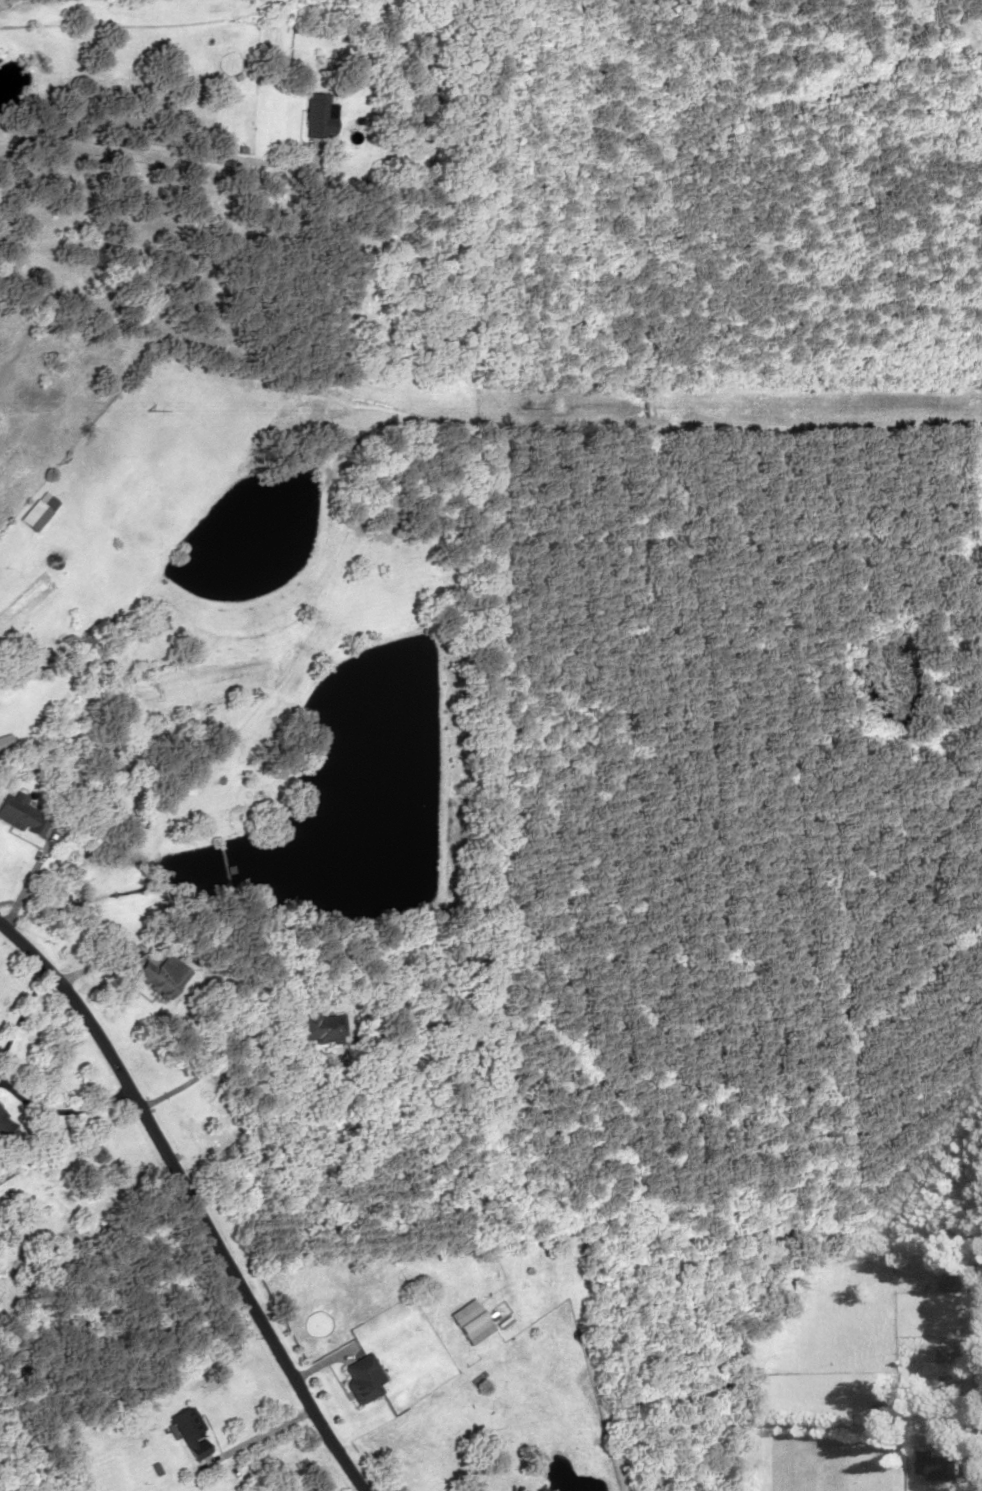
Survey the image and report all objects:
building: (317, 115)
building: (387, 157)
building: (38, 510)
building: (152, 620)
building: (121, 637)
building: (4, 741)
building: (21, 813)
building: (160, 976)
building: (316, 1025)
building: (6, 1129)
road: (190, 1201)
building: (953, 1275)
building: (469, 1321)
building: (953, 1353)
building: (360, 1378)
building: (190, 1431)
building: (942, 1467)

